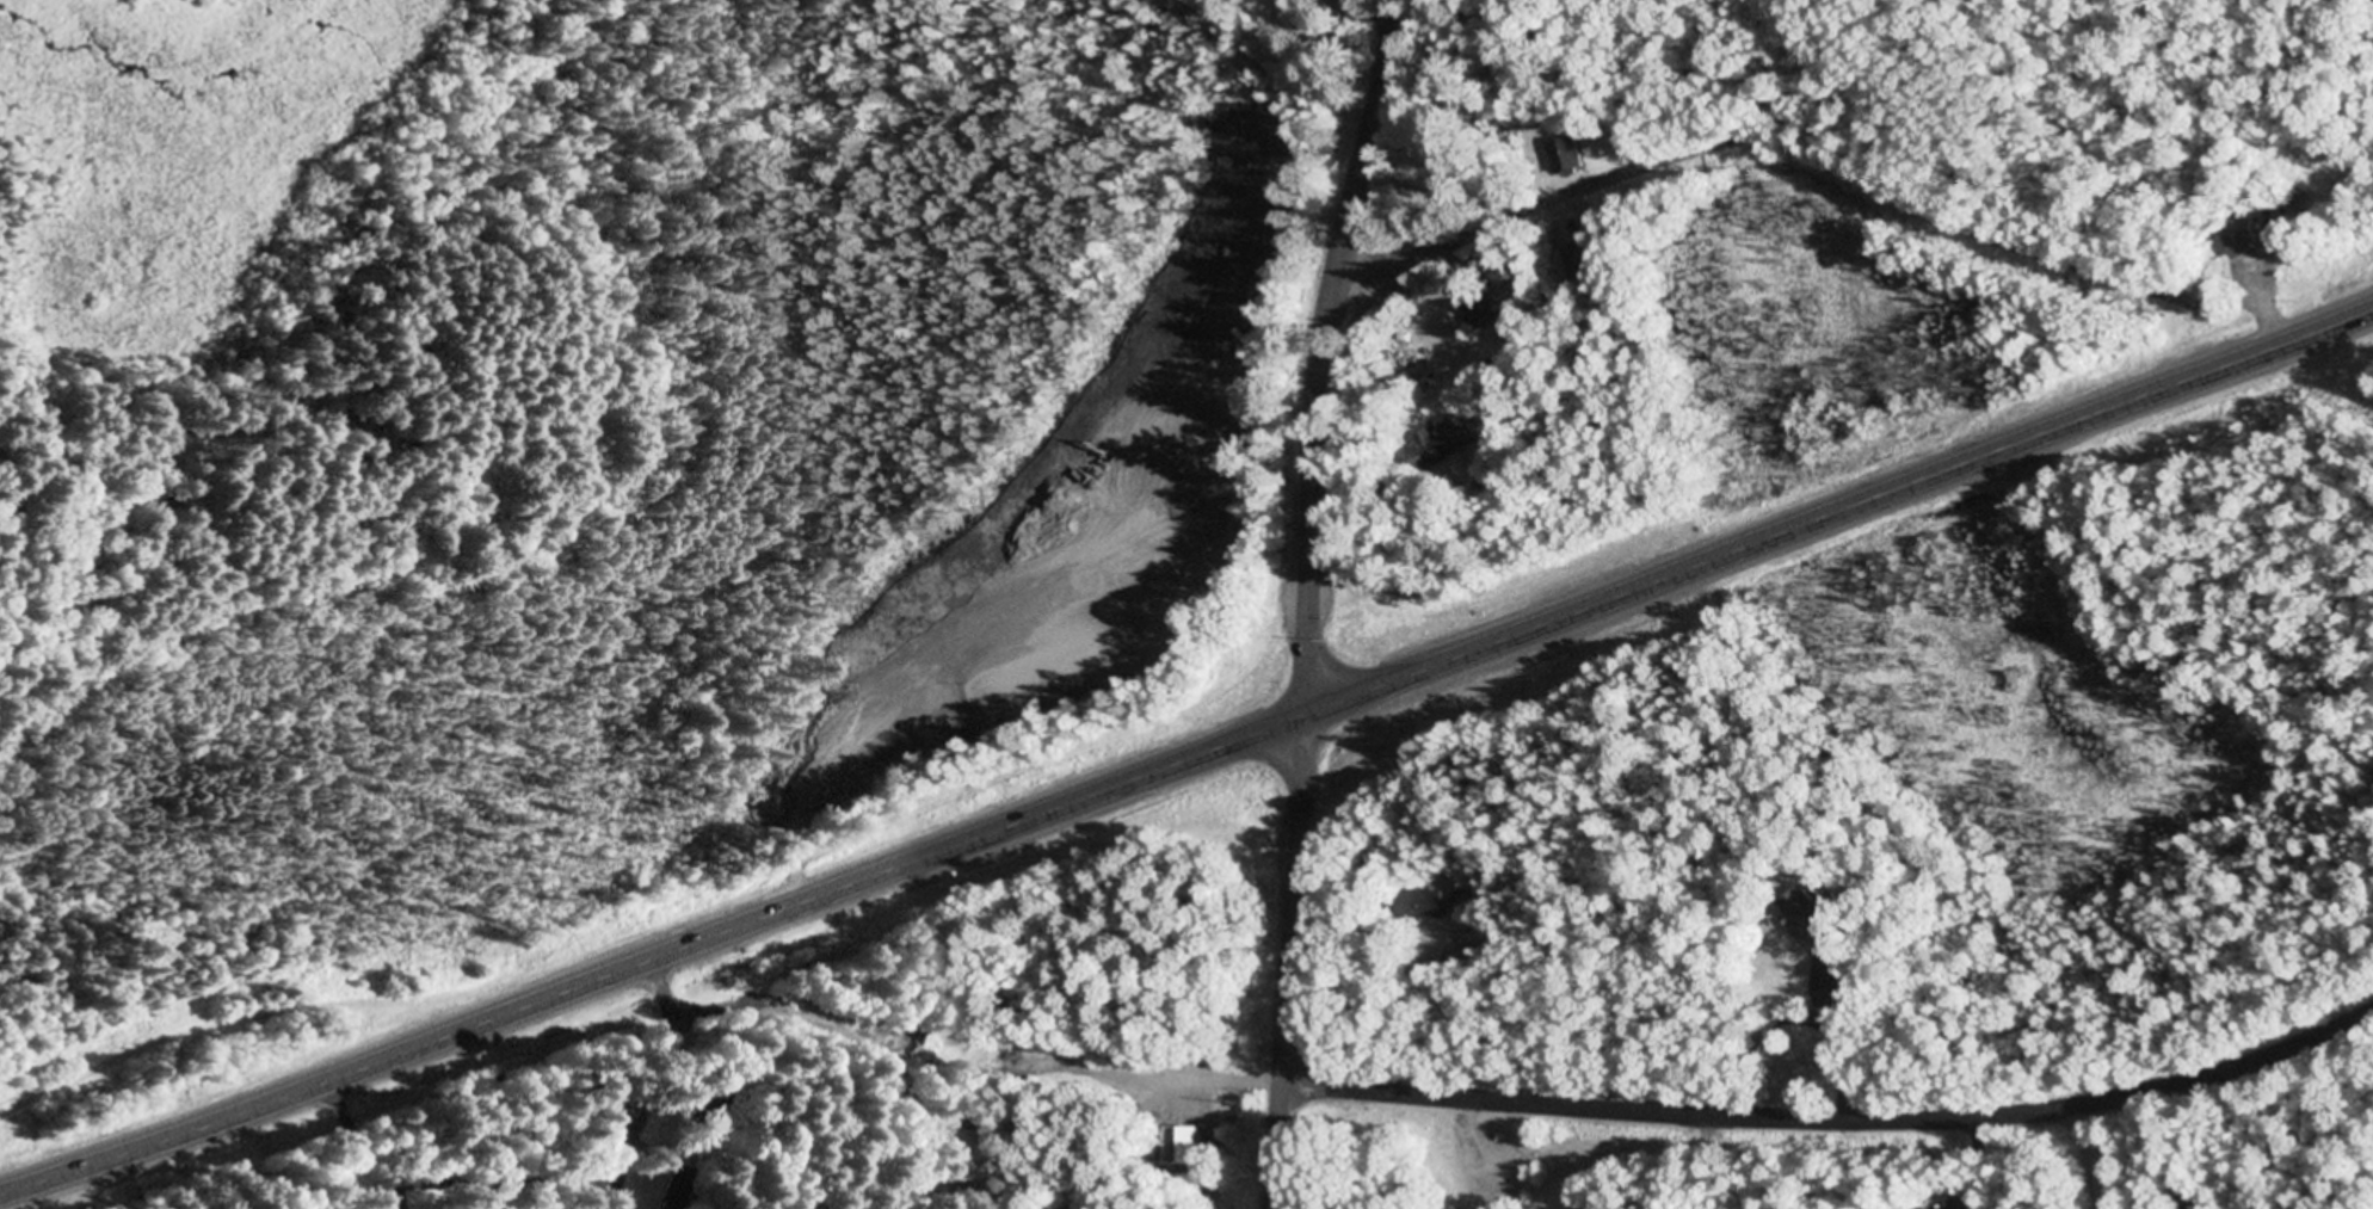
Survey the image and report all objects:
building: (2239, 239)
building: (1580, 259)
building: (1479, 309)
road: (1319, 353)
building: (1442, 443)
road: (1192, 701)
road: (1189, 753)
road: (1244, 802)
building: (1423, 906)
building: (1805, 914)
road: (1289, 962)
building: (1831, 967)
road: (655, 1080)
building: (696, 1106)
road: (1837, 1123)
road: (364, 1145)
road: (2096, 1158)
road: (510, 1182)
road: (505, 1195)
building: (671, 1197)
building: (1925, 1208)

